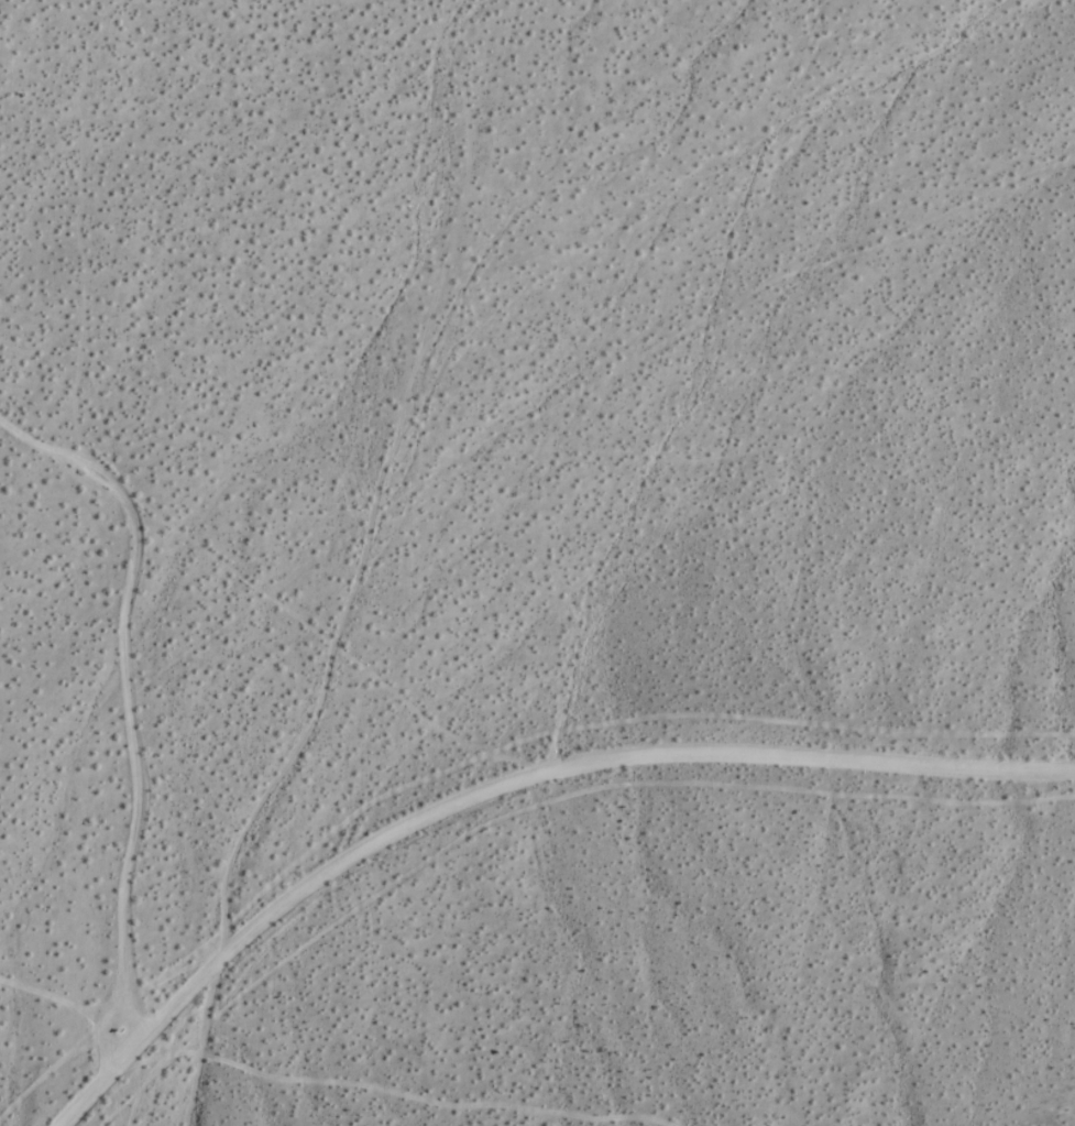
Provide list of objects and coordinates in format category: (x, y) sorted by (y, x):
road: (503, 779)

